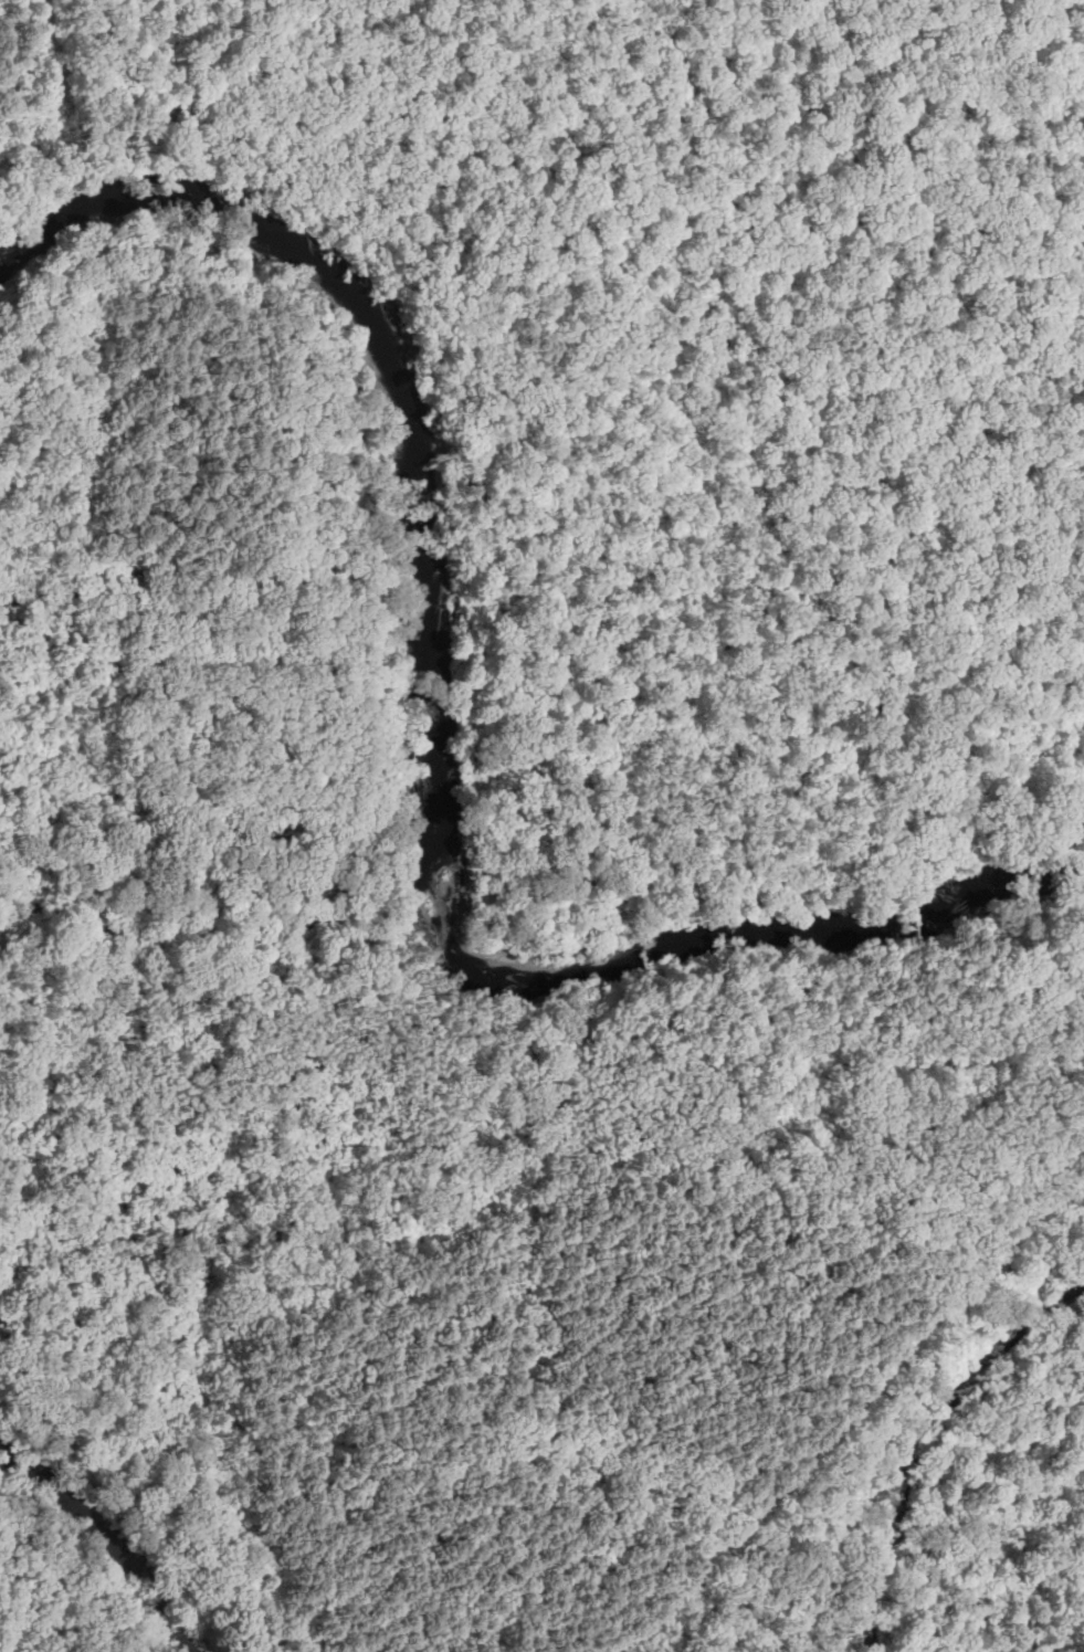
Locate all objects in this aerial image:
road: (848, 211)
river: (435, 754)

